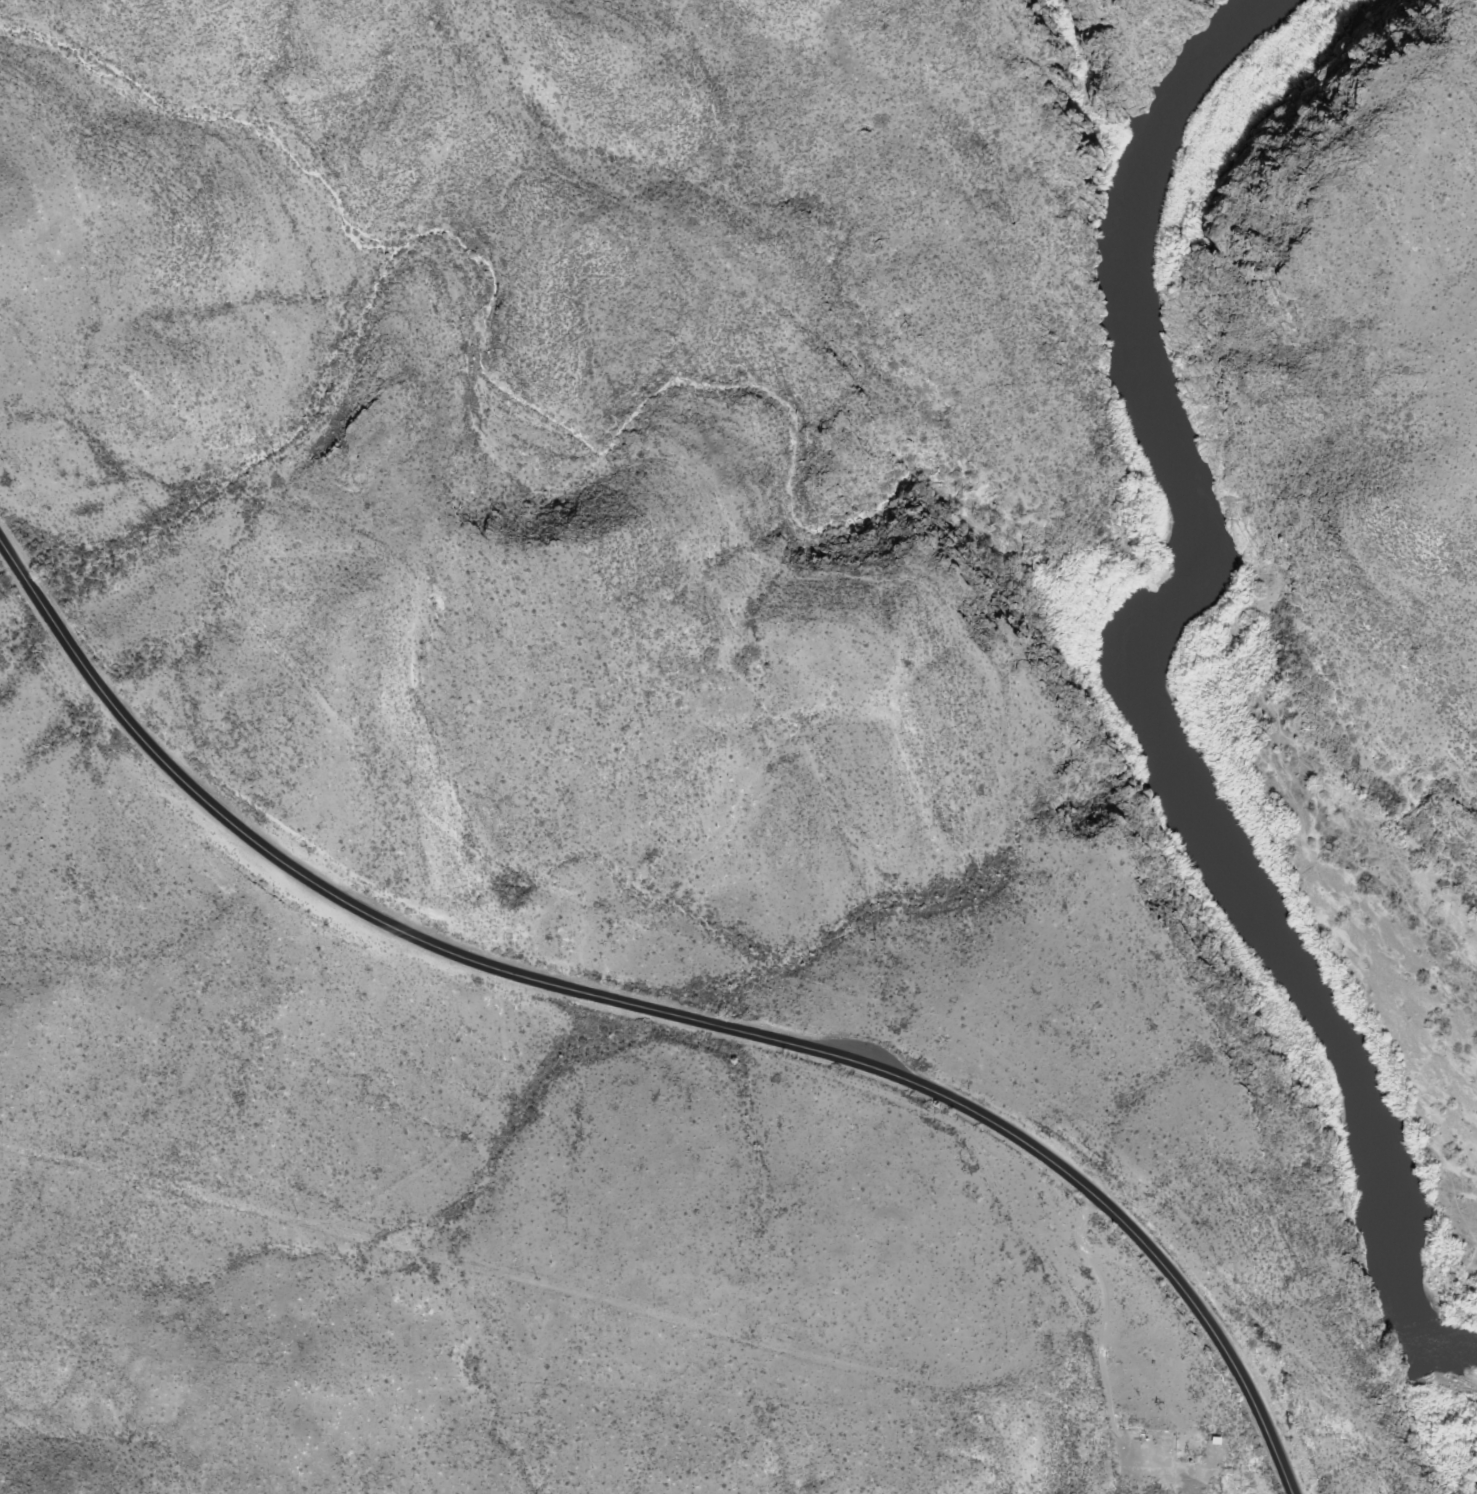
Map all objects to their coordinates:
river: (1161, 714)
road: (659, 1012)
road: (1017, 1327)

